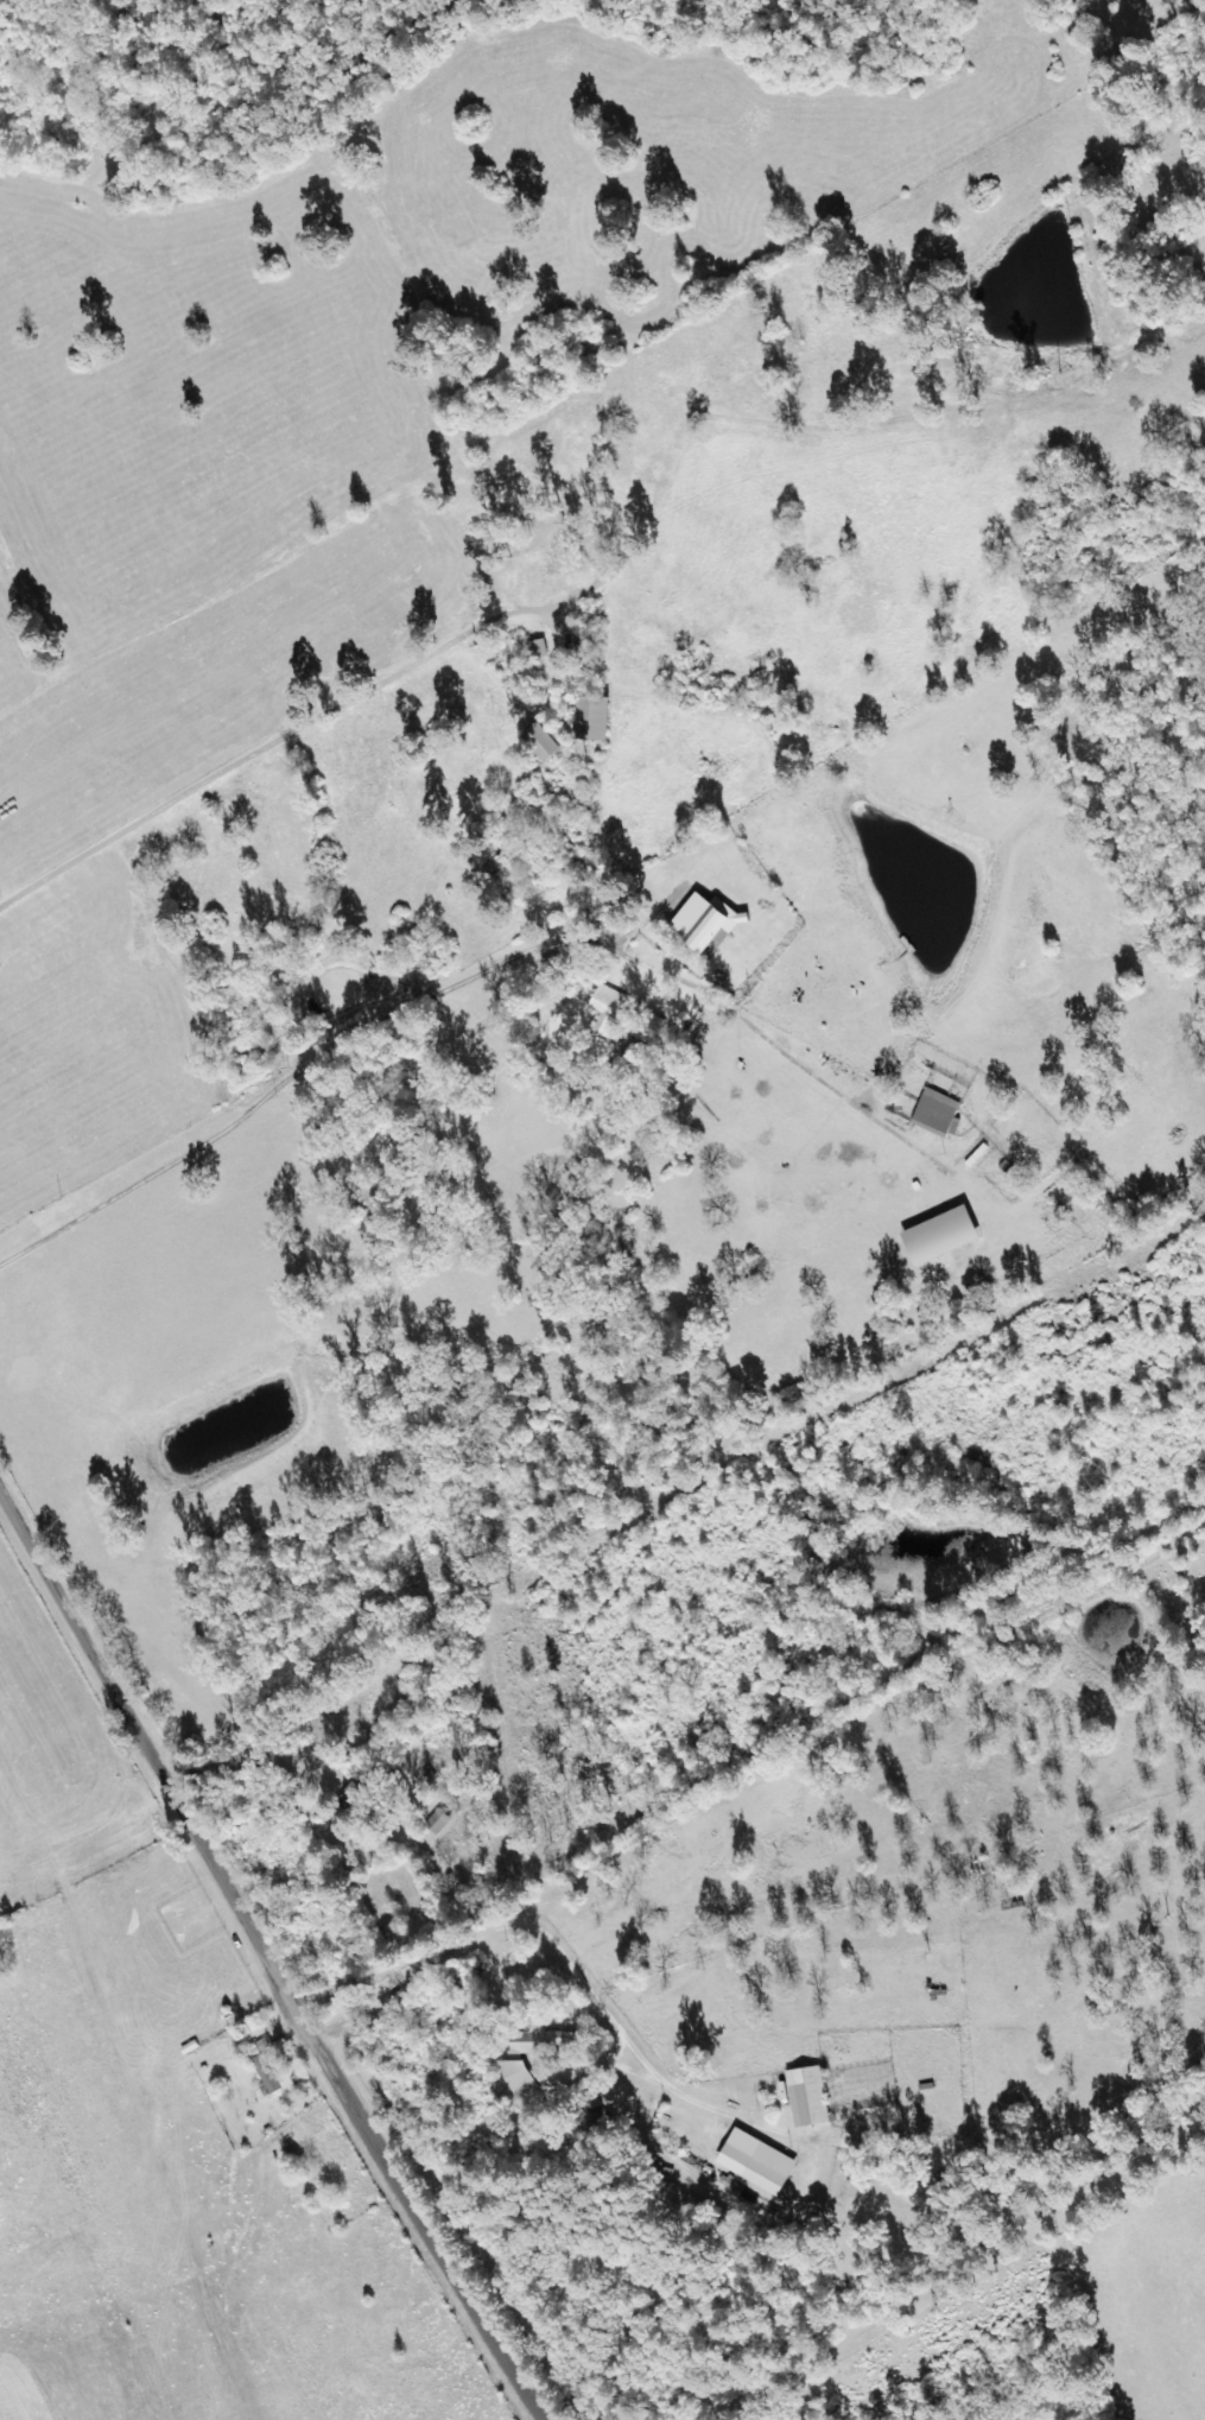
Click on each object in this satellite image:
building: (597, 718)
building: (547, 742)
building: (710, 921)
building: (609, 1009)
building: (939, 1113)
building: (946, 1236)
building: (440, 1820)
road: (242, 1965)
building: (546, 2041)
building: (265, 2064)
building: (522, 2077)
building: (811, 2096)
building: (761, 2161)

